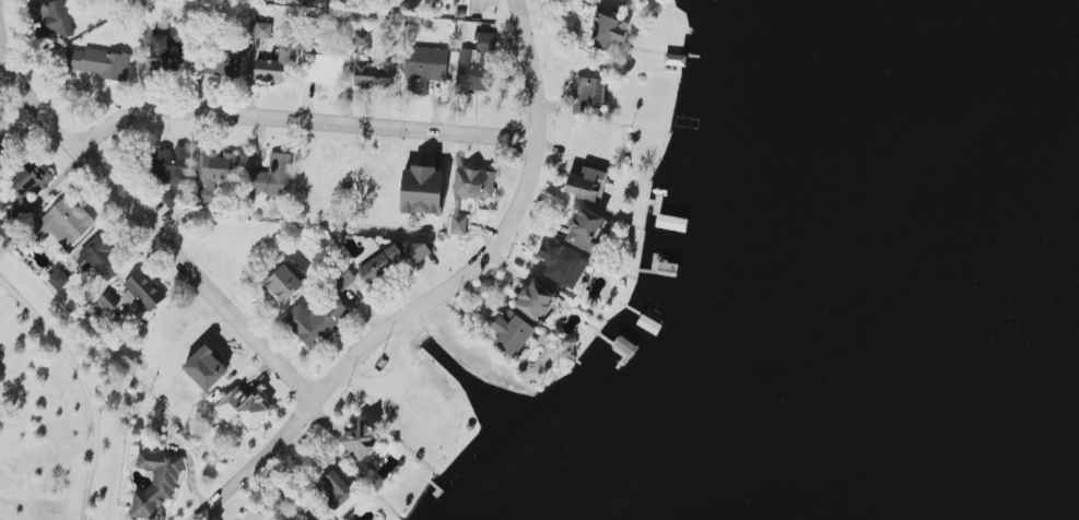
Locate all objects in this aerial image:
building: (301, 0)
building: (50, 19)
building: (261, 29)
building: (605, 32)
building: (173, 37)
building: (359, 37)
building: (164, 55)
building: (96, 61)
building: (219, 62)
building: (474, 62)
building: (273, 66)
building: (423, 67)
building: (322, 68)
building: (374, 73)
building: (588, 95)
road: (317, 126)
building: (168, 164)
building: (215, 172)
building: (271, 176)
building: (473, 182)
building: (585, 184)
building: (27, 187)
building: (421, 190)
building: (171, 197)
road: (137, 211)
building: (457, 220)
building: (63, 222)
building: (584, 228)
building: (362, 256)
building: (97, 257)
building: (394, 258)
building: (562, 262)
building: (57, 277)
building: (340, 279)
building: (283, 282)
building: (143, 289)
road: (437, 295)
building: (535, 300)
building: (108, 302)
building: (315, 320)
building: (512, 333)
building: (204, 368)
road: (82, 386)
building: (242, 406)
park: (50, 409)
building: (357, 439)
building: (155, 482)
building: (338, 493)

